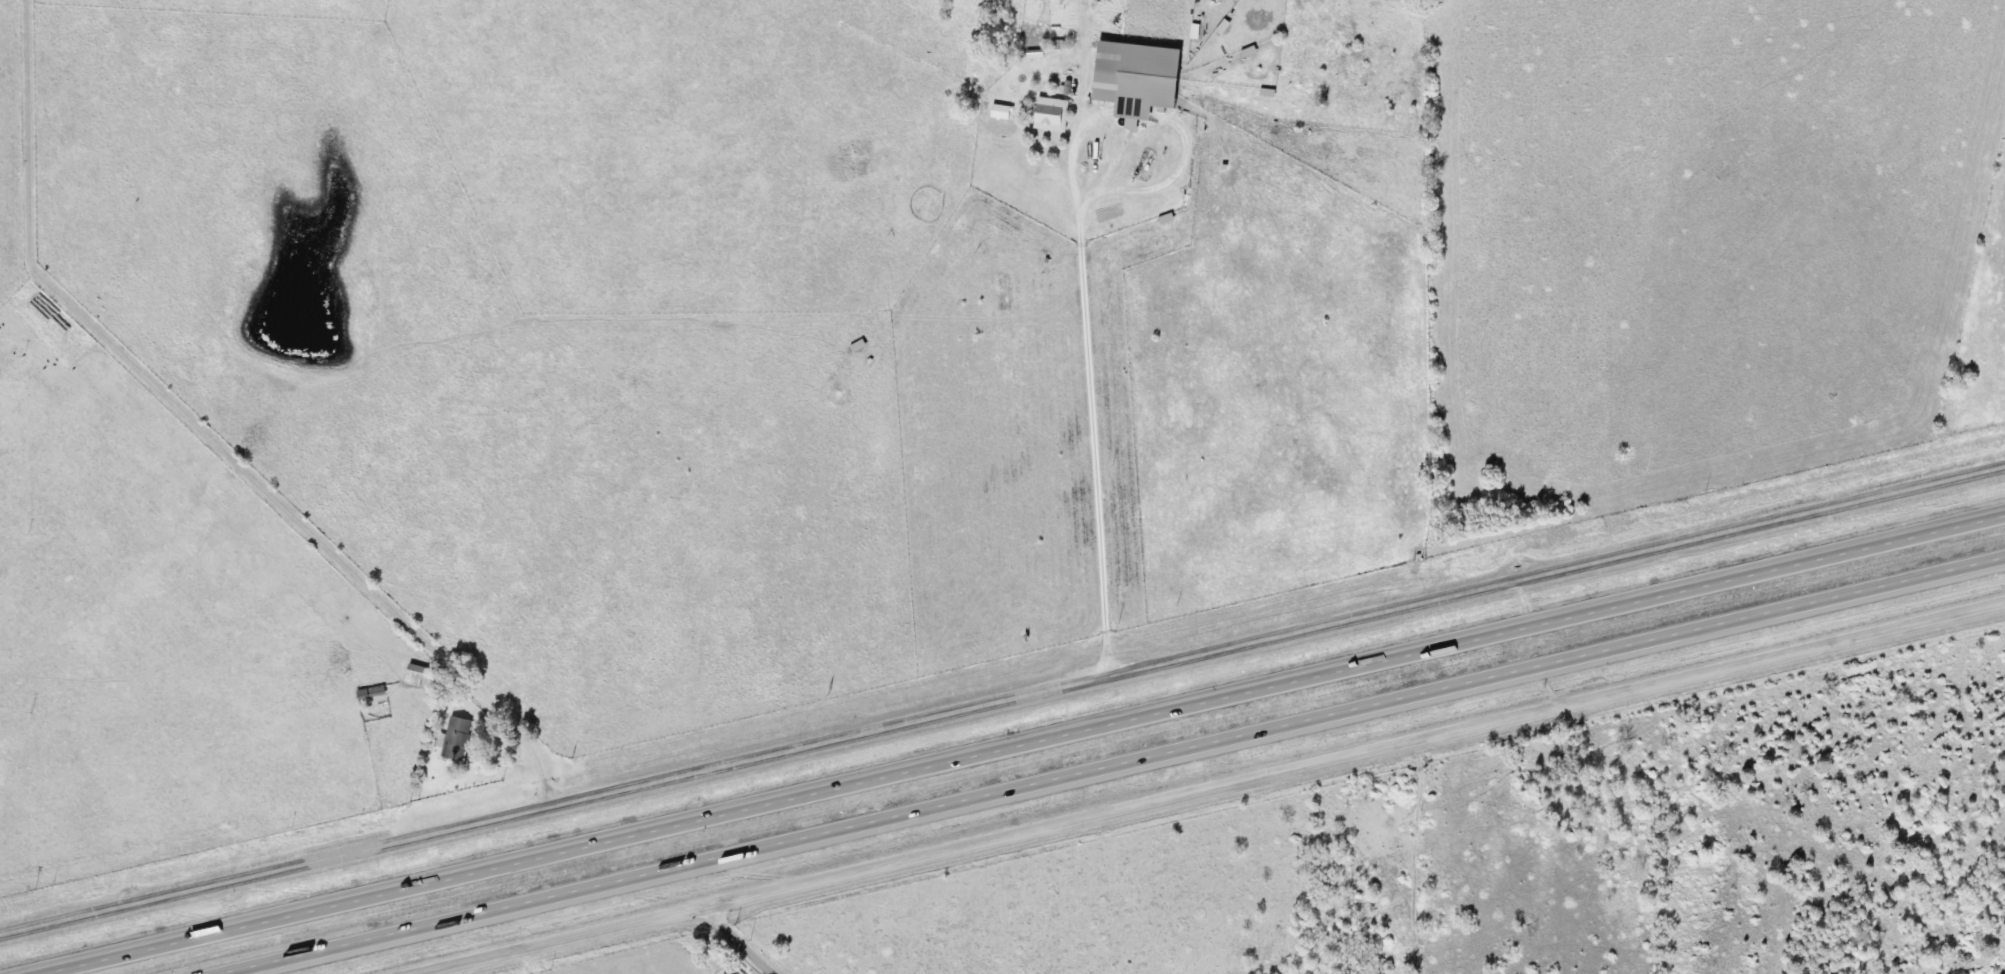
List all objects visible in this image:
building: (1140, 79)
building: (1053, 115)
road: (1094, 392)
road: (205, 436)
building: (417, 676)
building: (372, 693)
road: (1001, 696)
building: (456, 740)
road: (1022, 744)
road: (1114, 766)
road: (1205, 788)
road: (737, 939)

